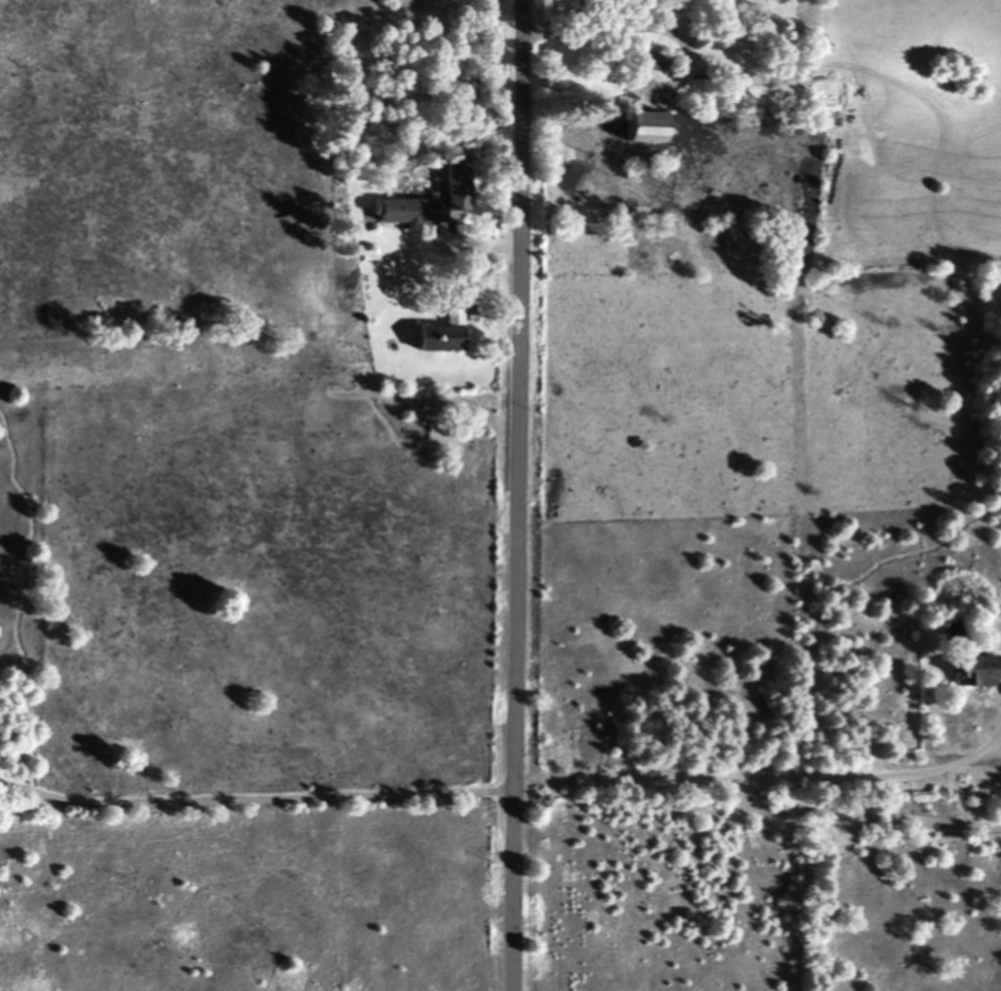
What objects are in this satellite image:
road: (594, 28)
building: (652, 60)
building: (637, 126)
building: (399, 211)
building: (437, 334)
road: (513, 495)
building: (972, 671)
road: (766, 776)
road: (253, 796)
road: (854, 811)

